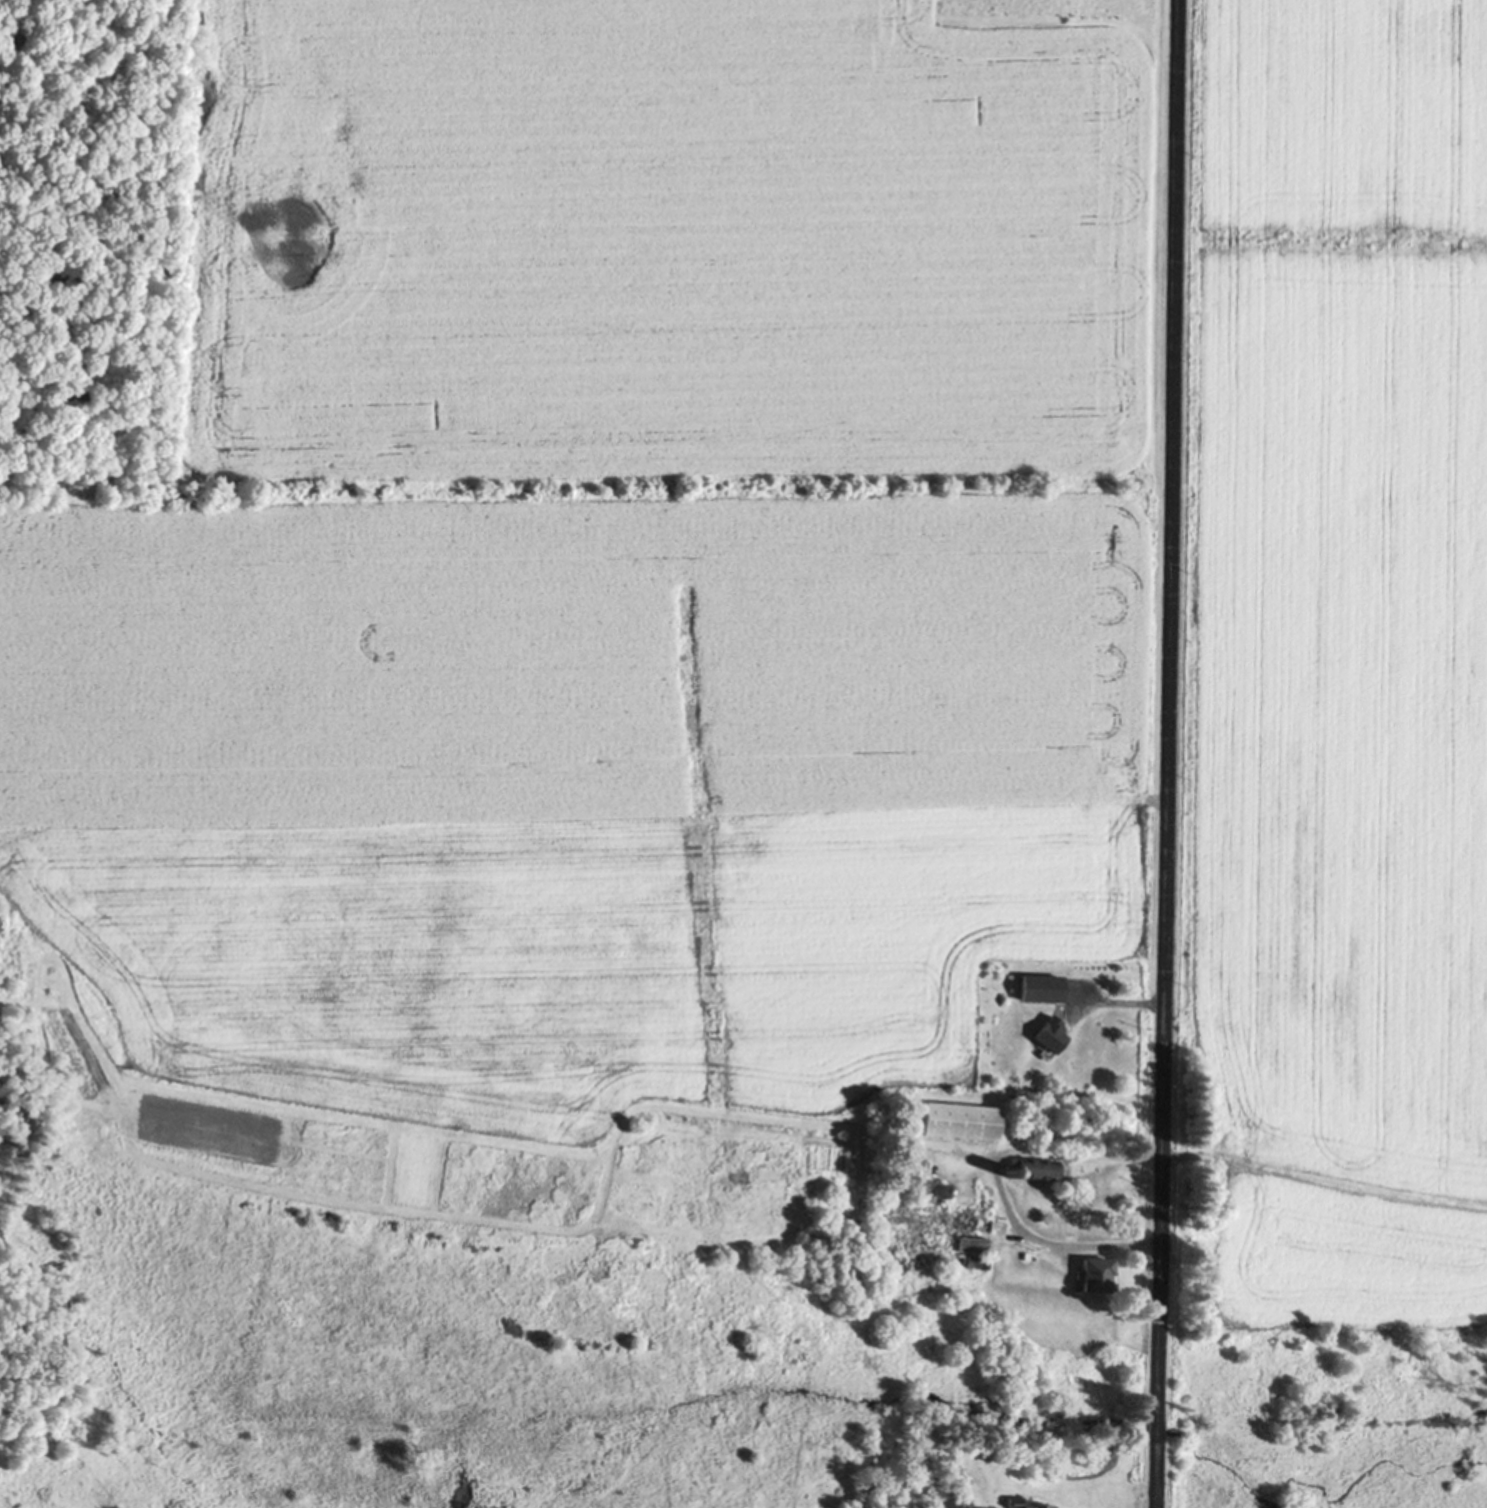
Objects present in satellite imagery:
road: (1165, 754)
building: (1049, 1037)
building: (959, 1123)
building: (1035, 1171)
building: (934, 1221)
building: (1094, 1277)
building: (1024, 1506)

